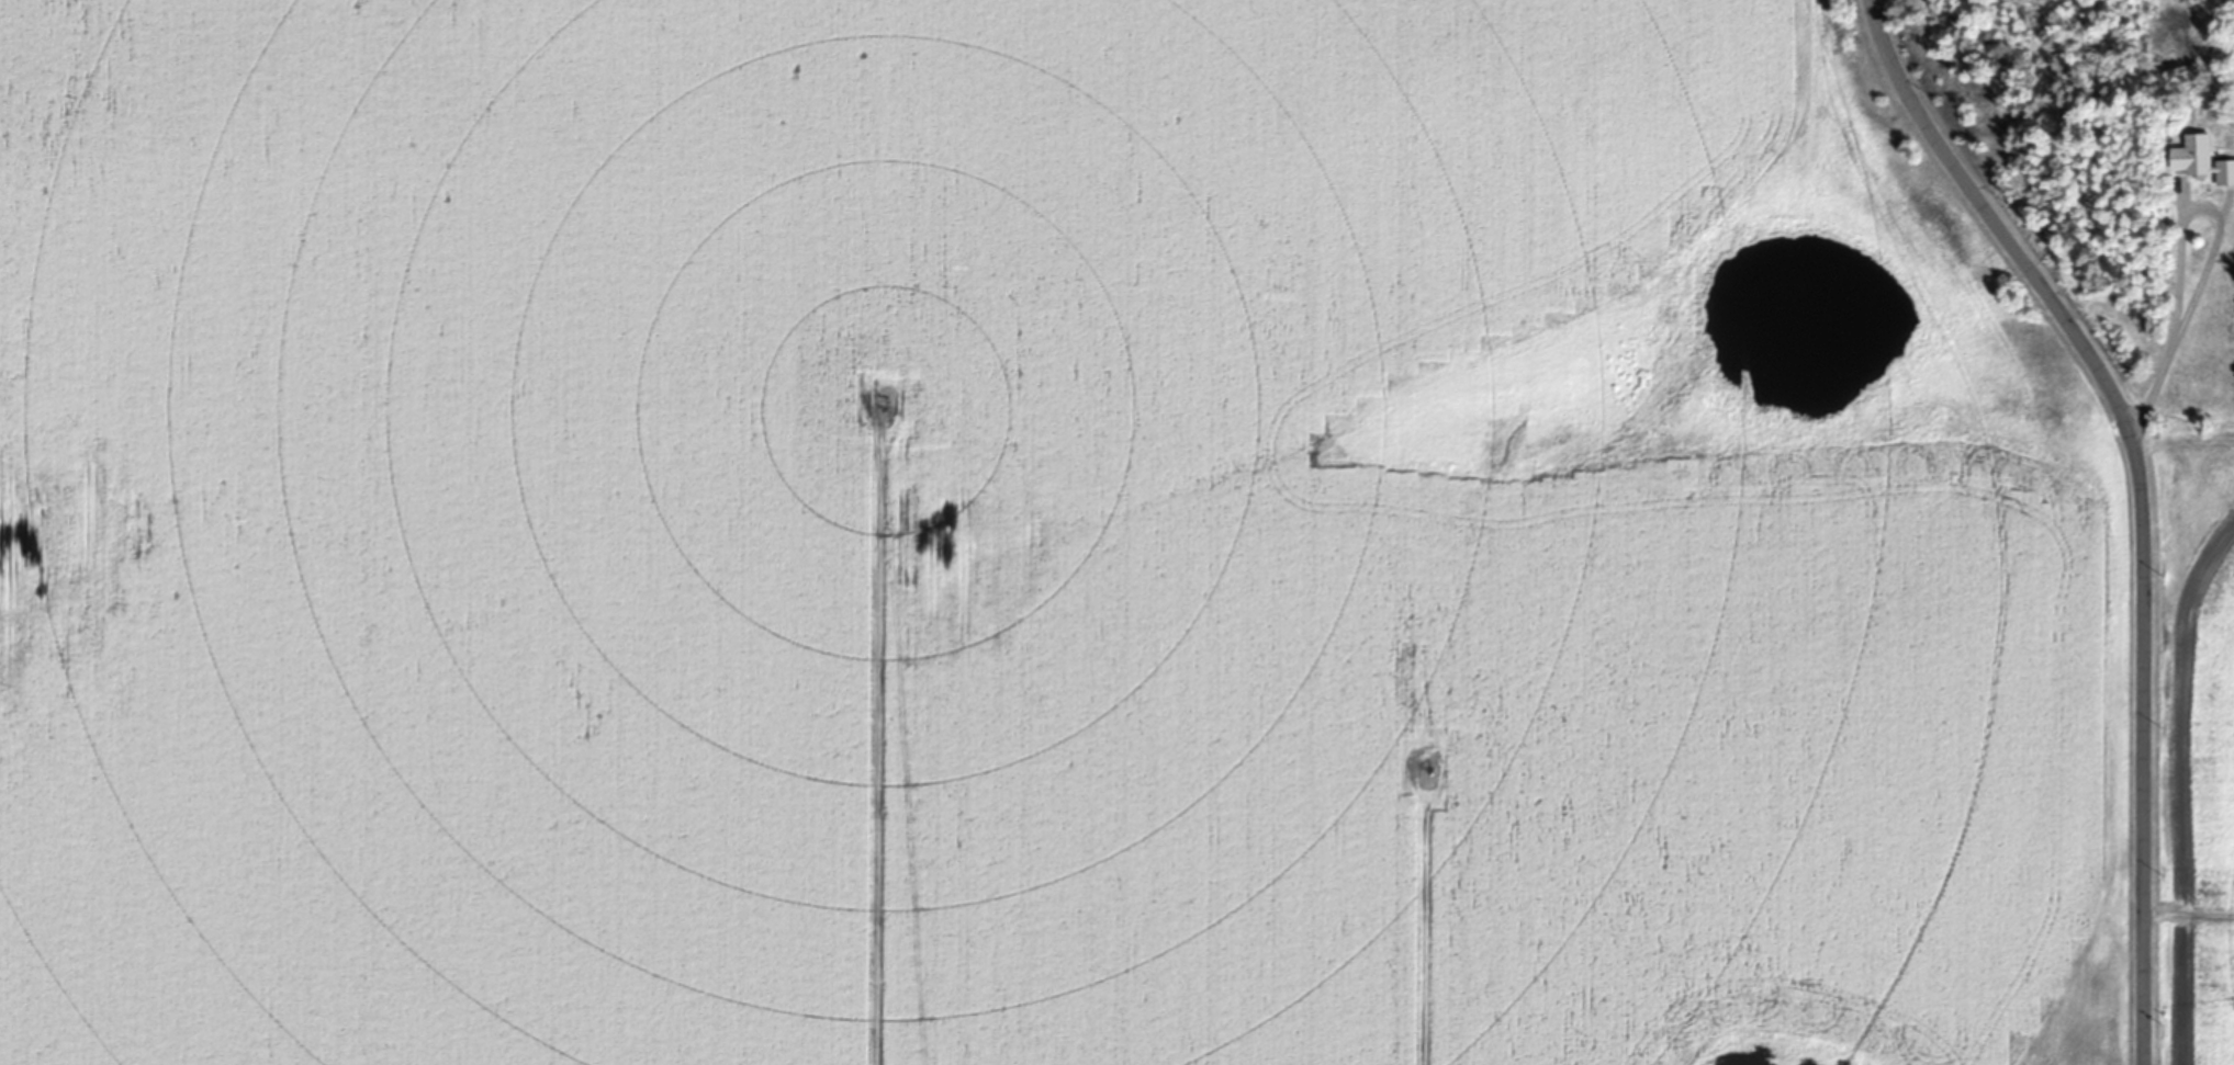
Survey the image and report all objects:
building: (2203, 160)
road: (2213, 263)
road: (2145, 494)

